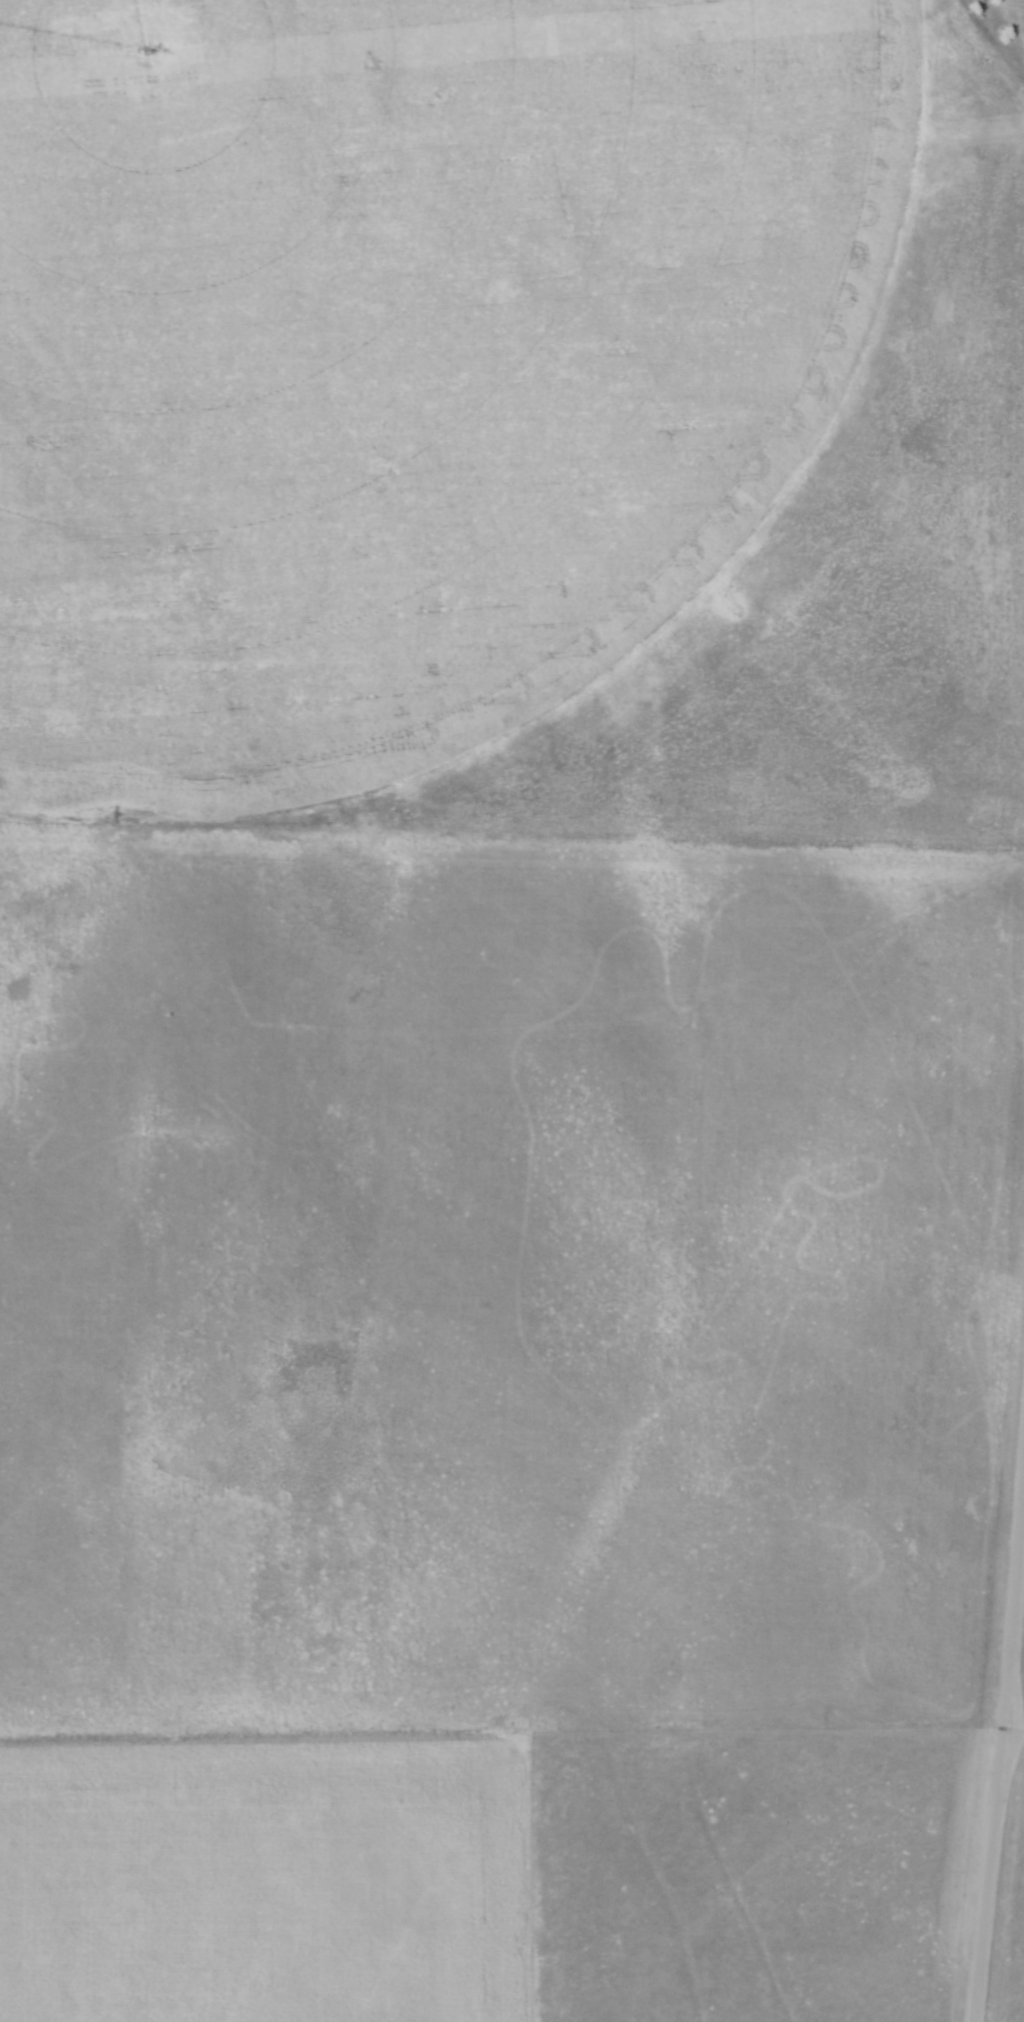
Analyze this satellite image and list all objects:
road: (1002, 1757)

